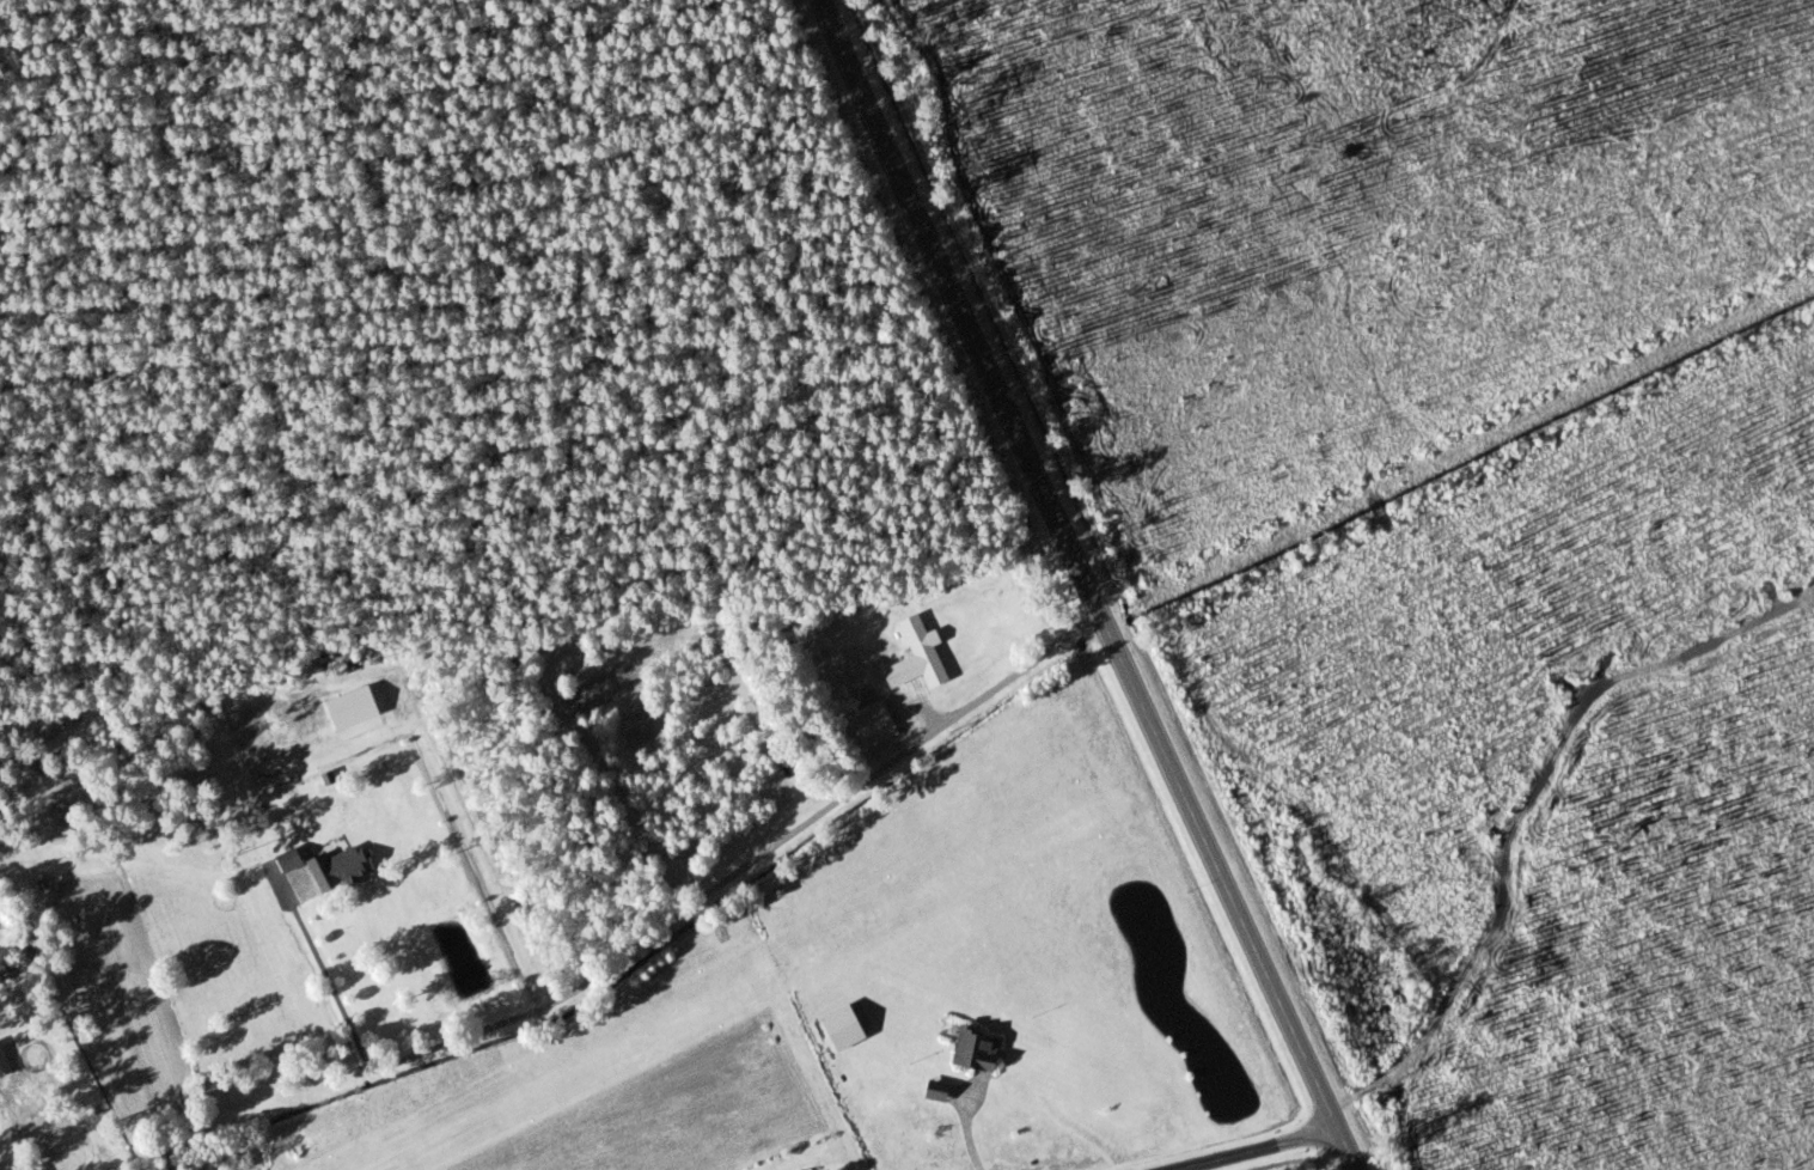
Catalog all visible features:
road: (1086, 584)
building: (916, 657)
building: (878, 720)
building: (286, 861)
building: (336, 870)
building: (973, 1052)
road: (1384, 1079)

